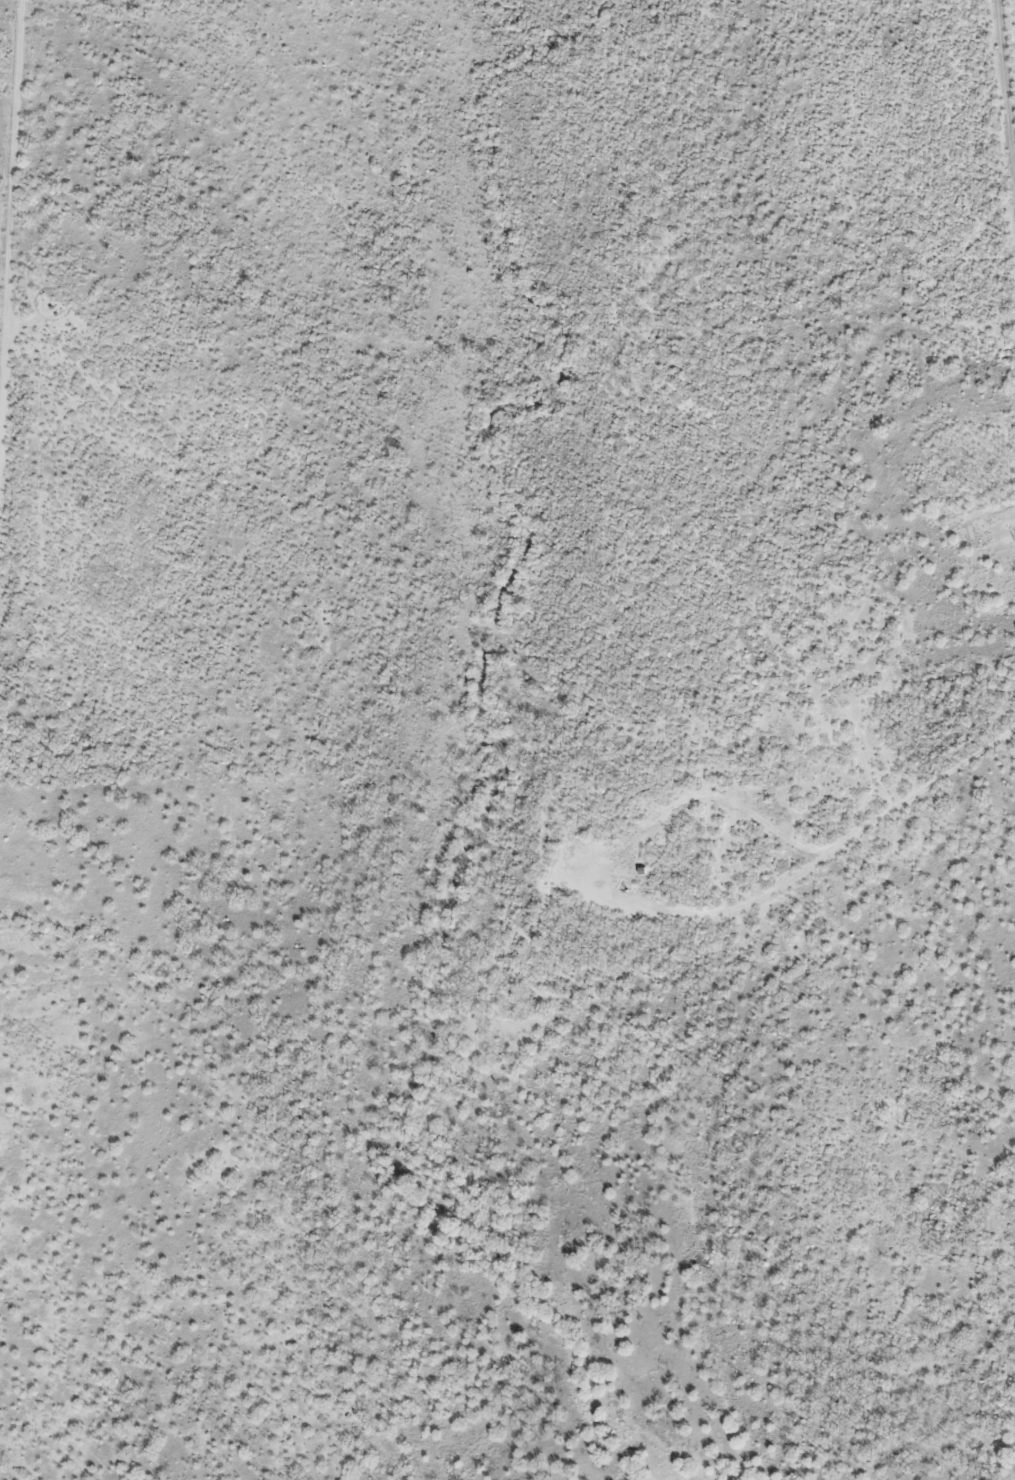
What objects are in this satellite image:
road: (987, 163)

